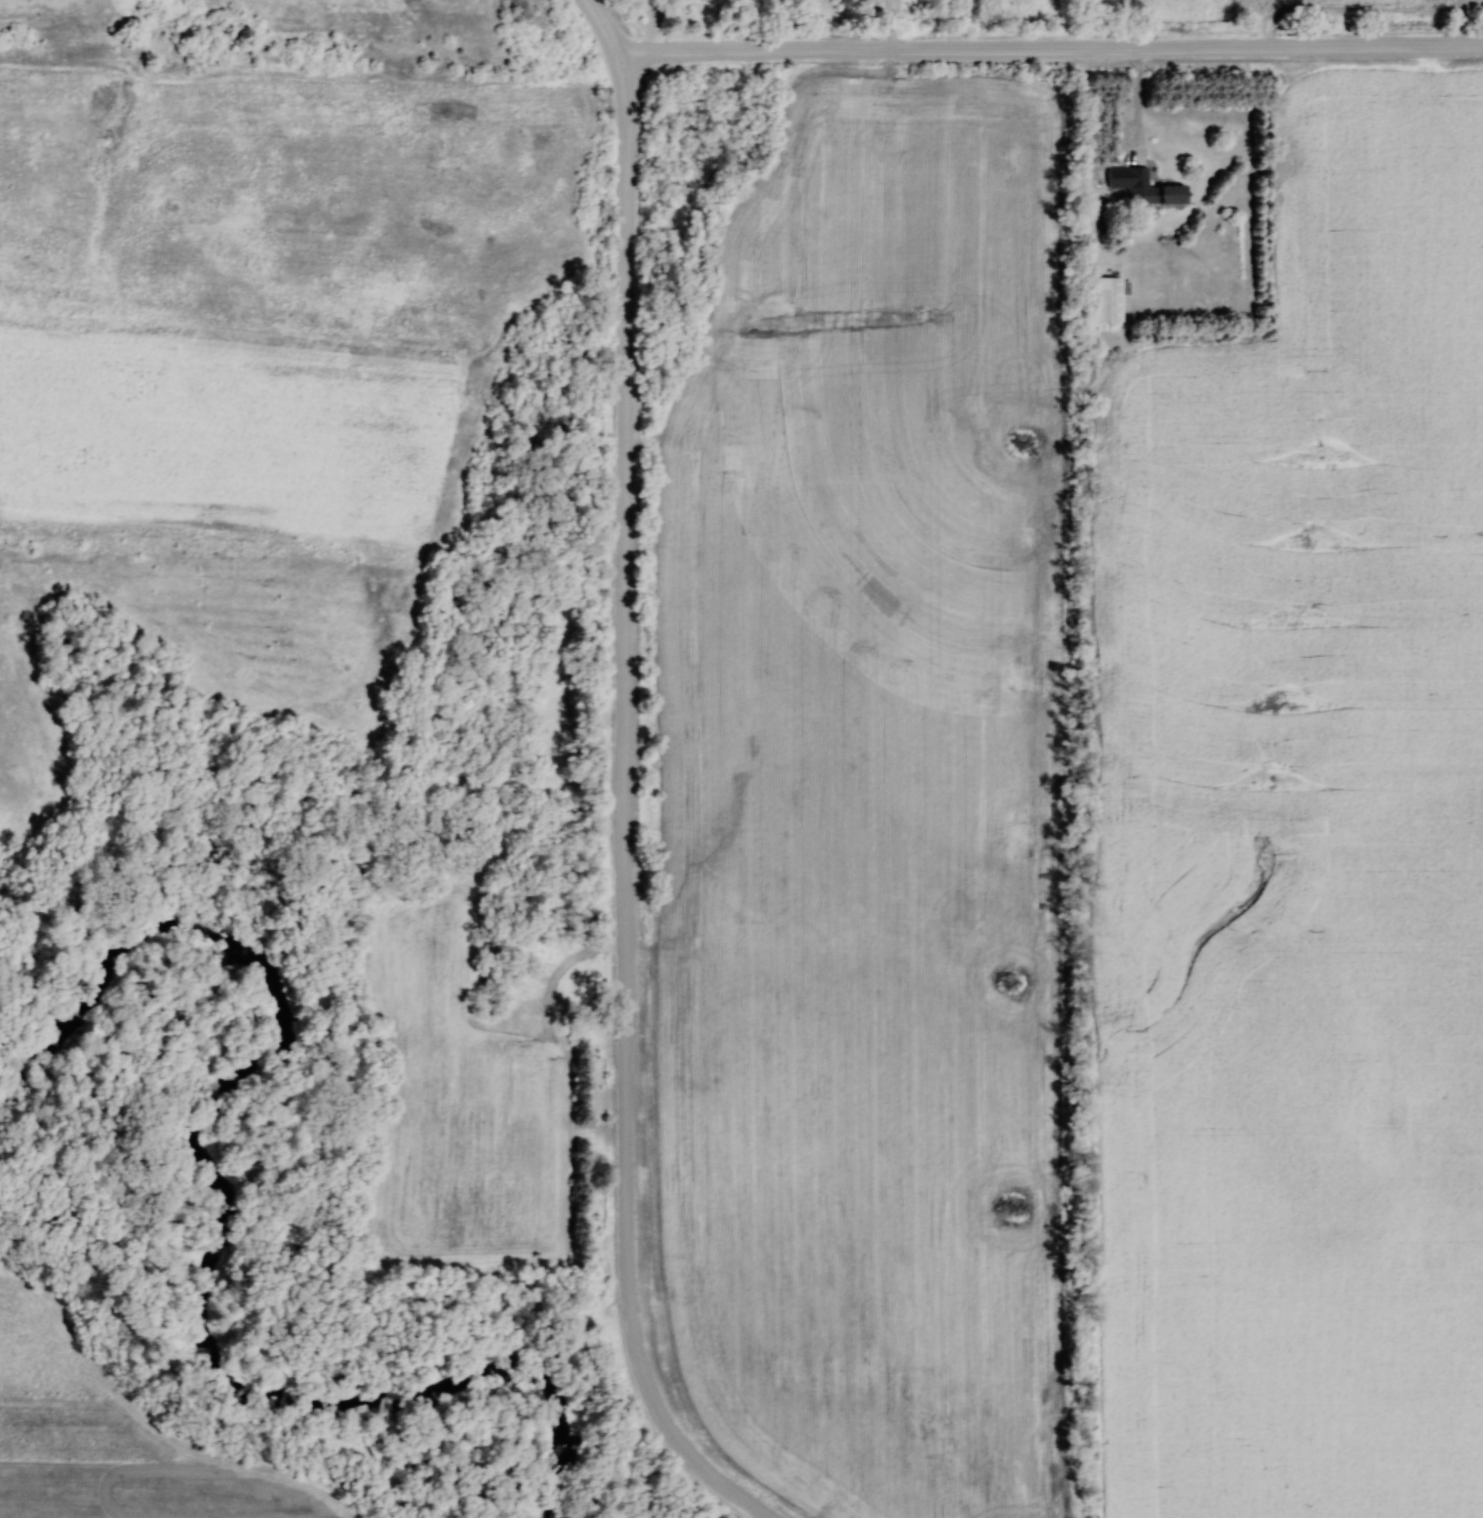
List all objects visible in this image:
road: (889, 24)
road: (608, 25)
road: (650, 25)
road: (1054, 49)
road: (1139, 108)
building: (1152, 194)
building: (1100, 299)
road: (628, 675)
river: (235, 1222)
road: (674, 1425)

